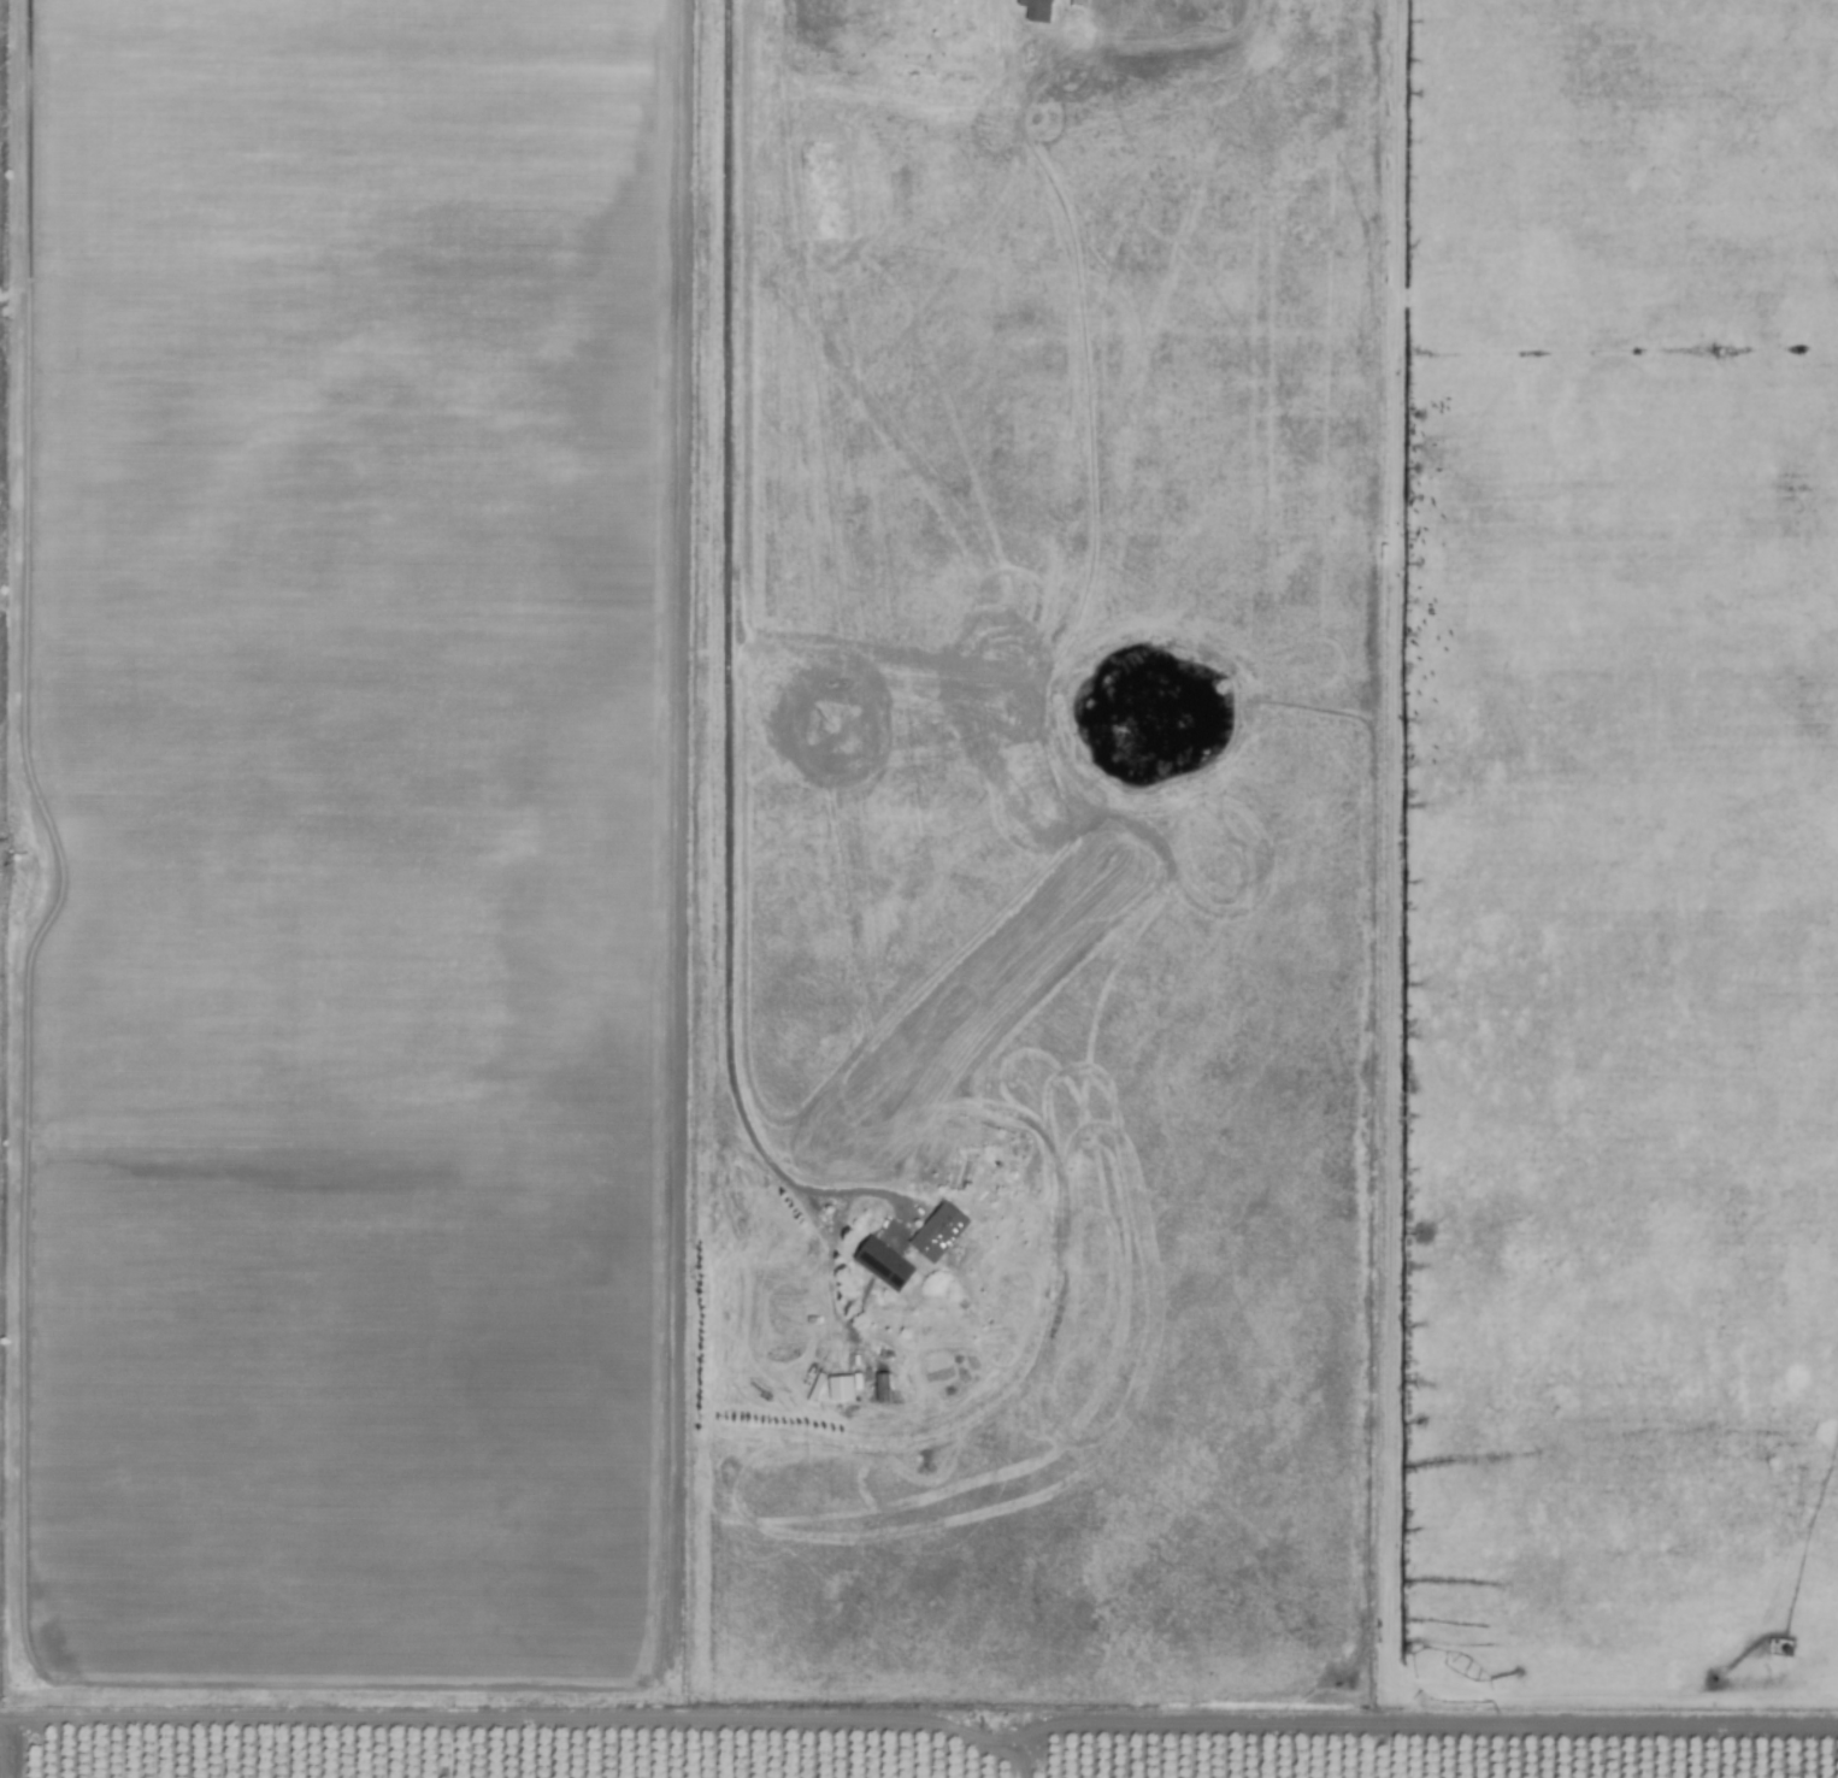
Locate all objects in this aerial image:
building: (1030, 8)
road: (715, 666)
building: (932, 1230)
building: (877, 1261)
building: (838, 1388)

